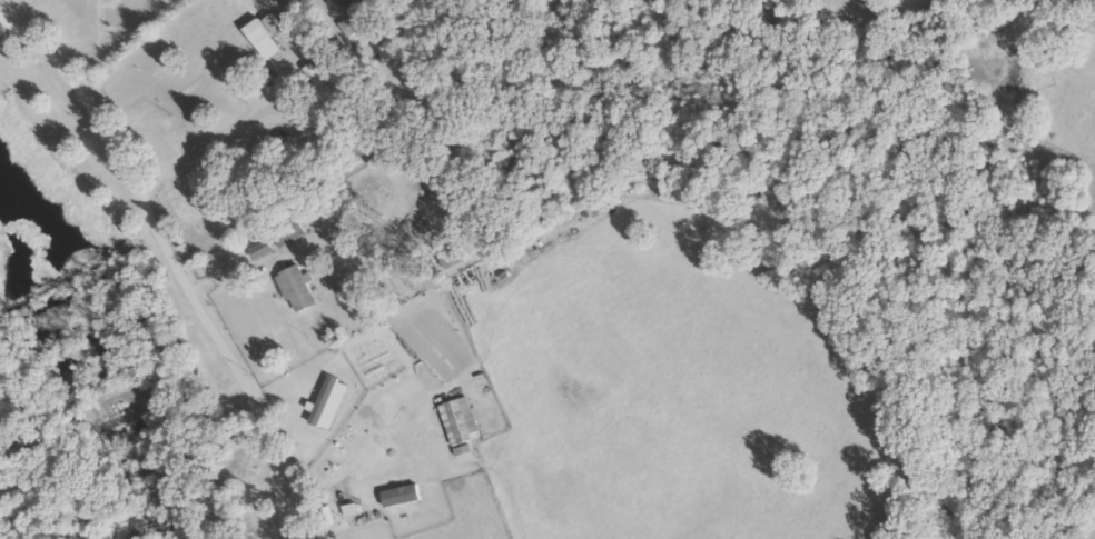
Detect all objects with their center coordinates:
building: (356, 22)
building: (257, 31)
road: (96, 51)
building: (317, 80)
building: (365, 149)
building: (288, 229)
road: (168, 259)
building: (297, 288)
building: (331, 400)
building: (462, 420)
building: (336, 452)
building: (324, 538)
building: (325, 538)

